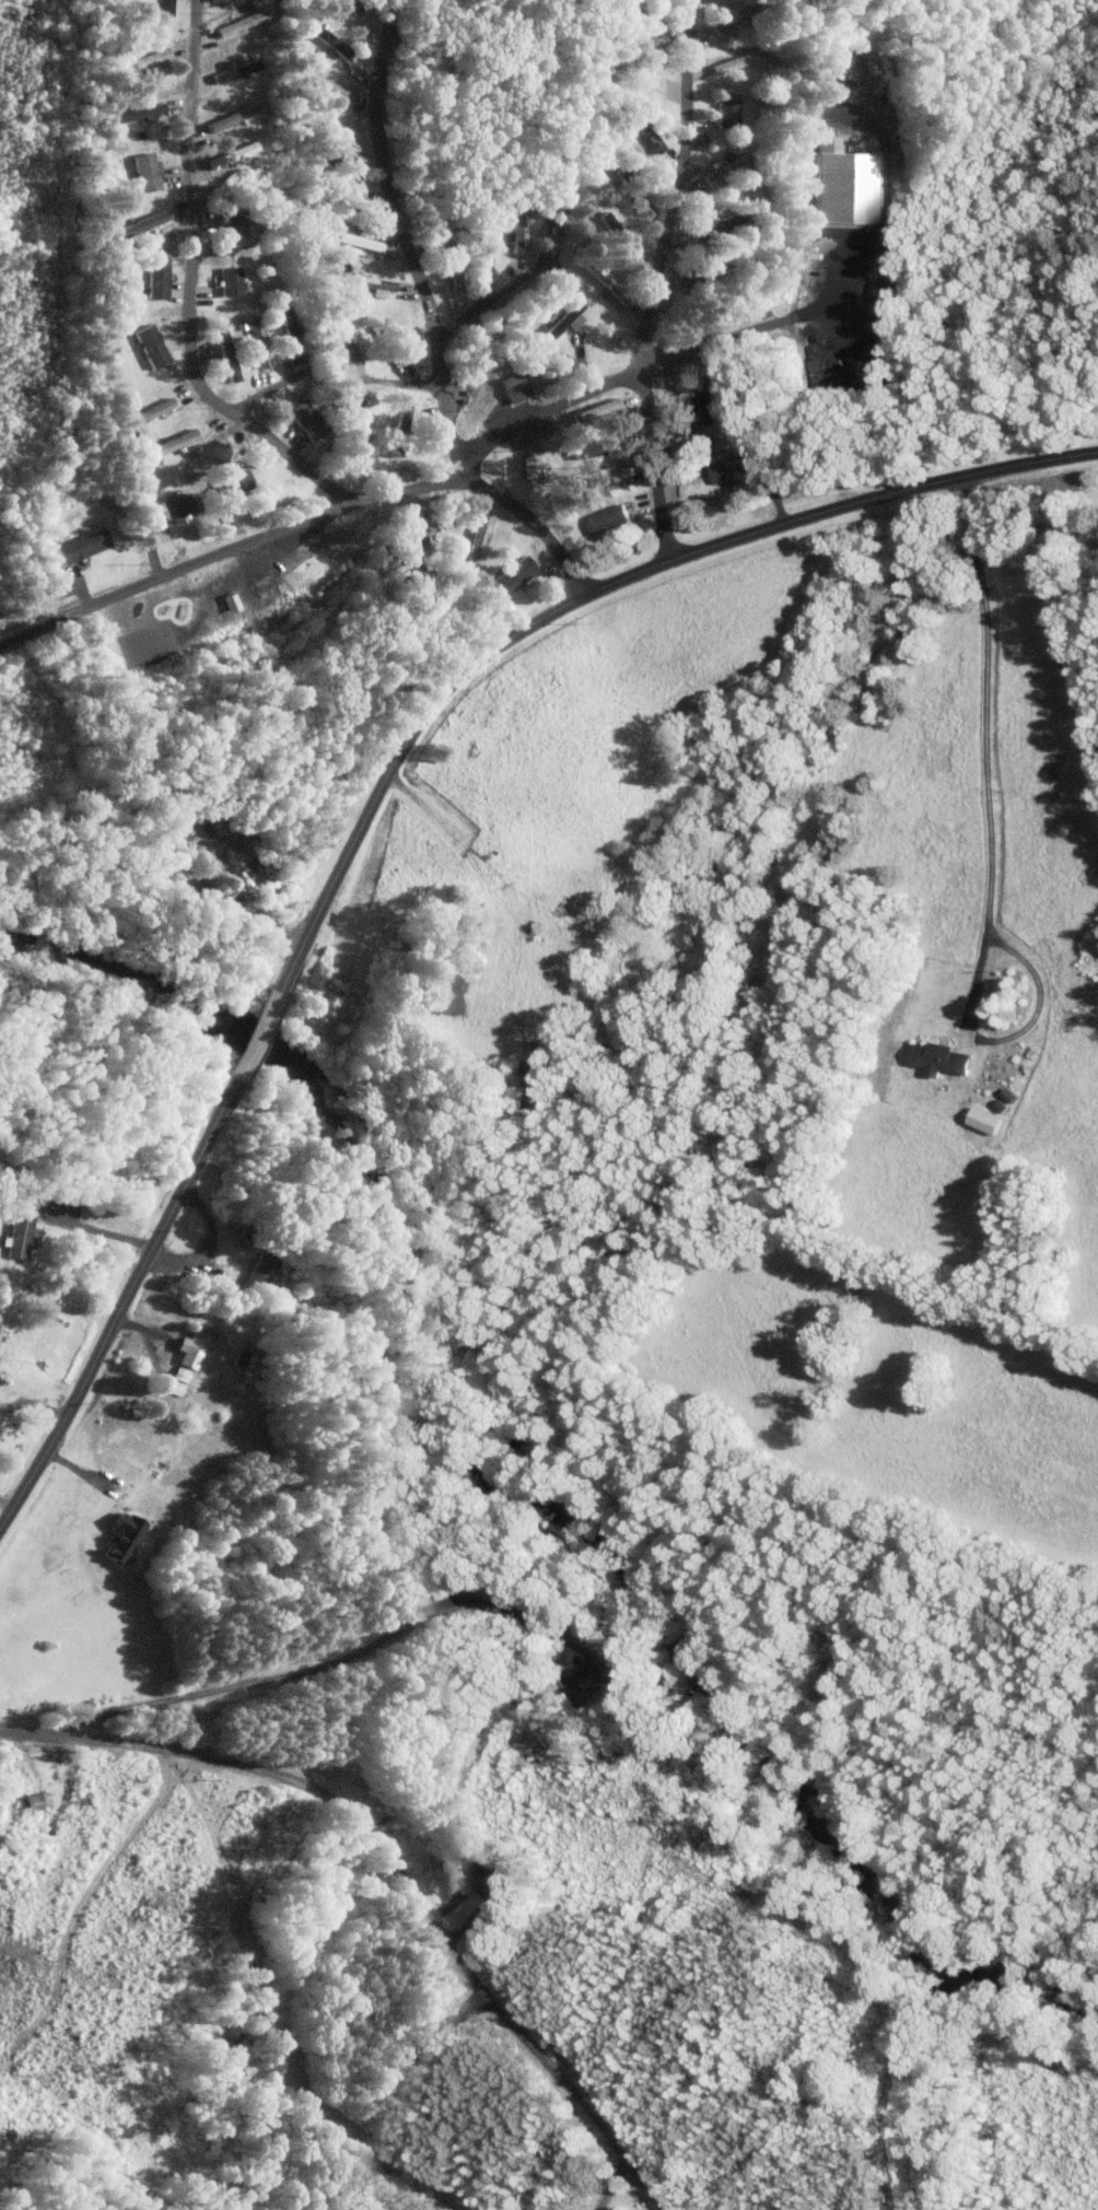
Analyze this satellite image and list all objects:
building: (162, 7)
building: (735, 17)
building: (241, 23)
building: (323, 35)
building: (736, 62)
building: (837, 68)
building: (234, 70)
building: (327, 85)
building: (727, 109)
building: (137, 113)
building: (231, 118)
building: (226, 157)
building: (147, 172)
building: (843, 184)
building: (560, 222)
building: (144, 223)
building: (235, 226)
building: (519, 232)
building: (456, 273)
building: (156, 278)
road: (656, 279)
building: (232, 282)
road: (191, 290)
road: (492, 305)
road: (428, 319)
road: (797, 319)
building: (566, 320)
building: (290, 323)
building: (342, 337)
building: (258, 341)
building: (151, 347)
building: (227, 355)
road: (402, 387)
building: (515, 387)
road: (270, 390)
building: (708, 398)
building: (676, 408)
building: (595, 410)
building: (151, 411)
building: (306, 419)
building: (355, 424)
building: (172, 443)
building: (533, 467)
building: (729, 468)
building: (612, 476)
building: (232, 483)
road: (401, 494)
building: (174, 505)
building: (608, 519)
building: (477, 541)
building: (82, 546)
building: (513, 575)
road: (45, 627)
road: (376, 787)
road: (991, 845)
building: (262, 873)
building: (248, 914)
building: (446, 994)
building: (941, 1060)
building: (535, 1086)
building: (985, 1121)
road: (96, 1230)
building: (17, 1237)
road: (208, 1246)
building: (258, 1272)
building: (191, 1347)
building: (177, 1380)
road: (34, 1403)
road: (5, 1501)
building: (120, 1539)
road: (407, 1849)
building: (488, 1883)
road: (615, 2185)

